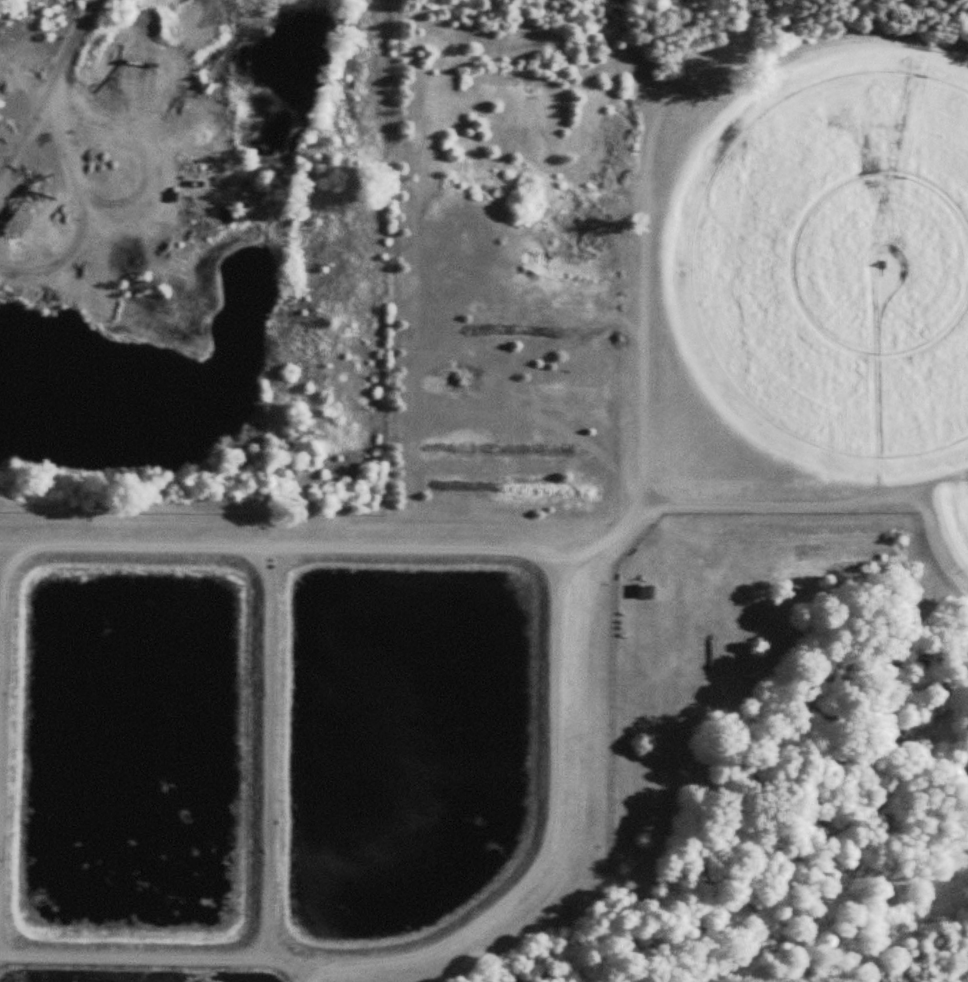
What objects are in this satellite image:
road: (68, 78)

